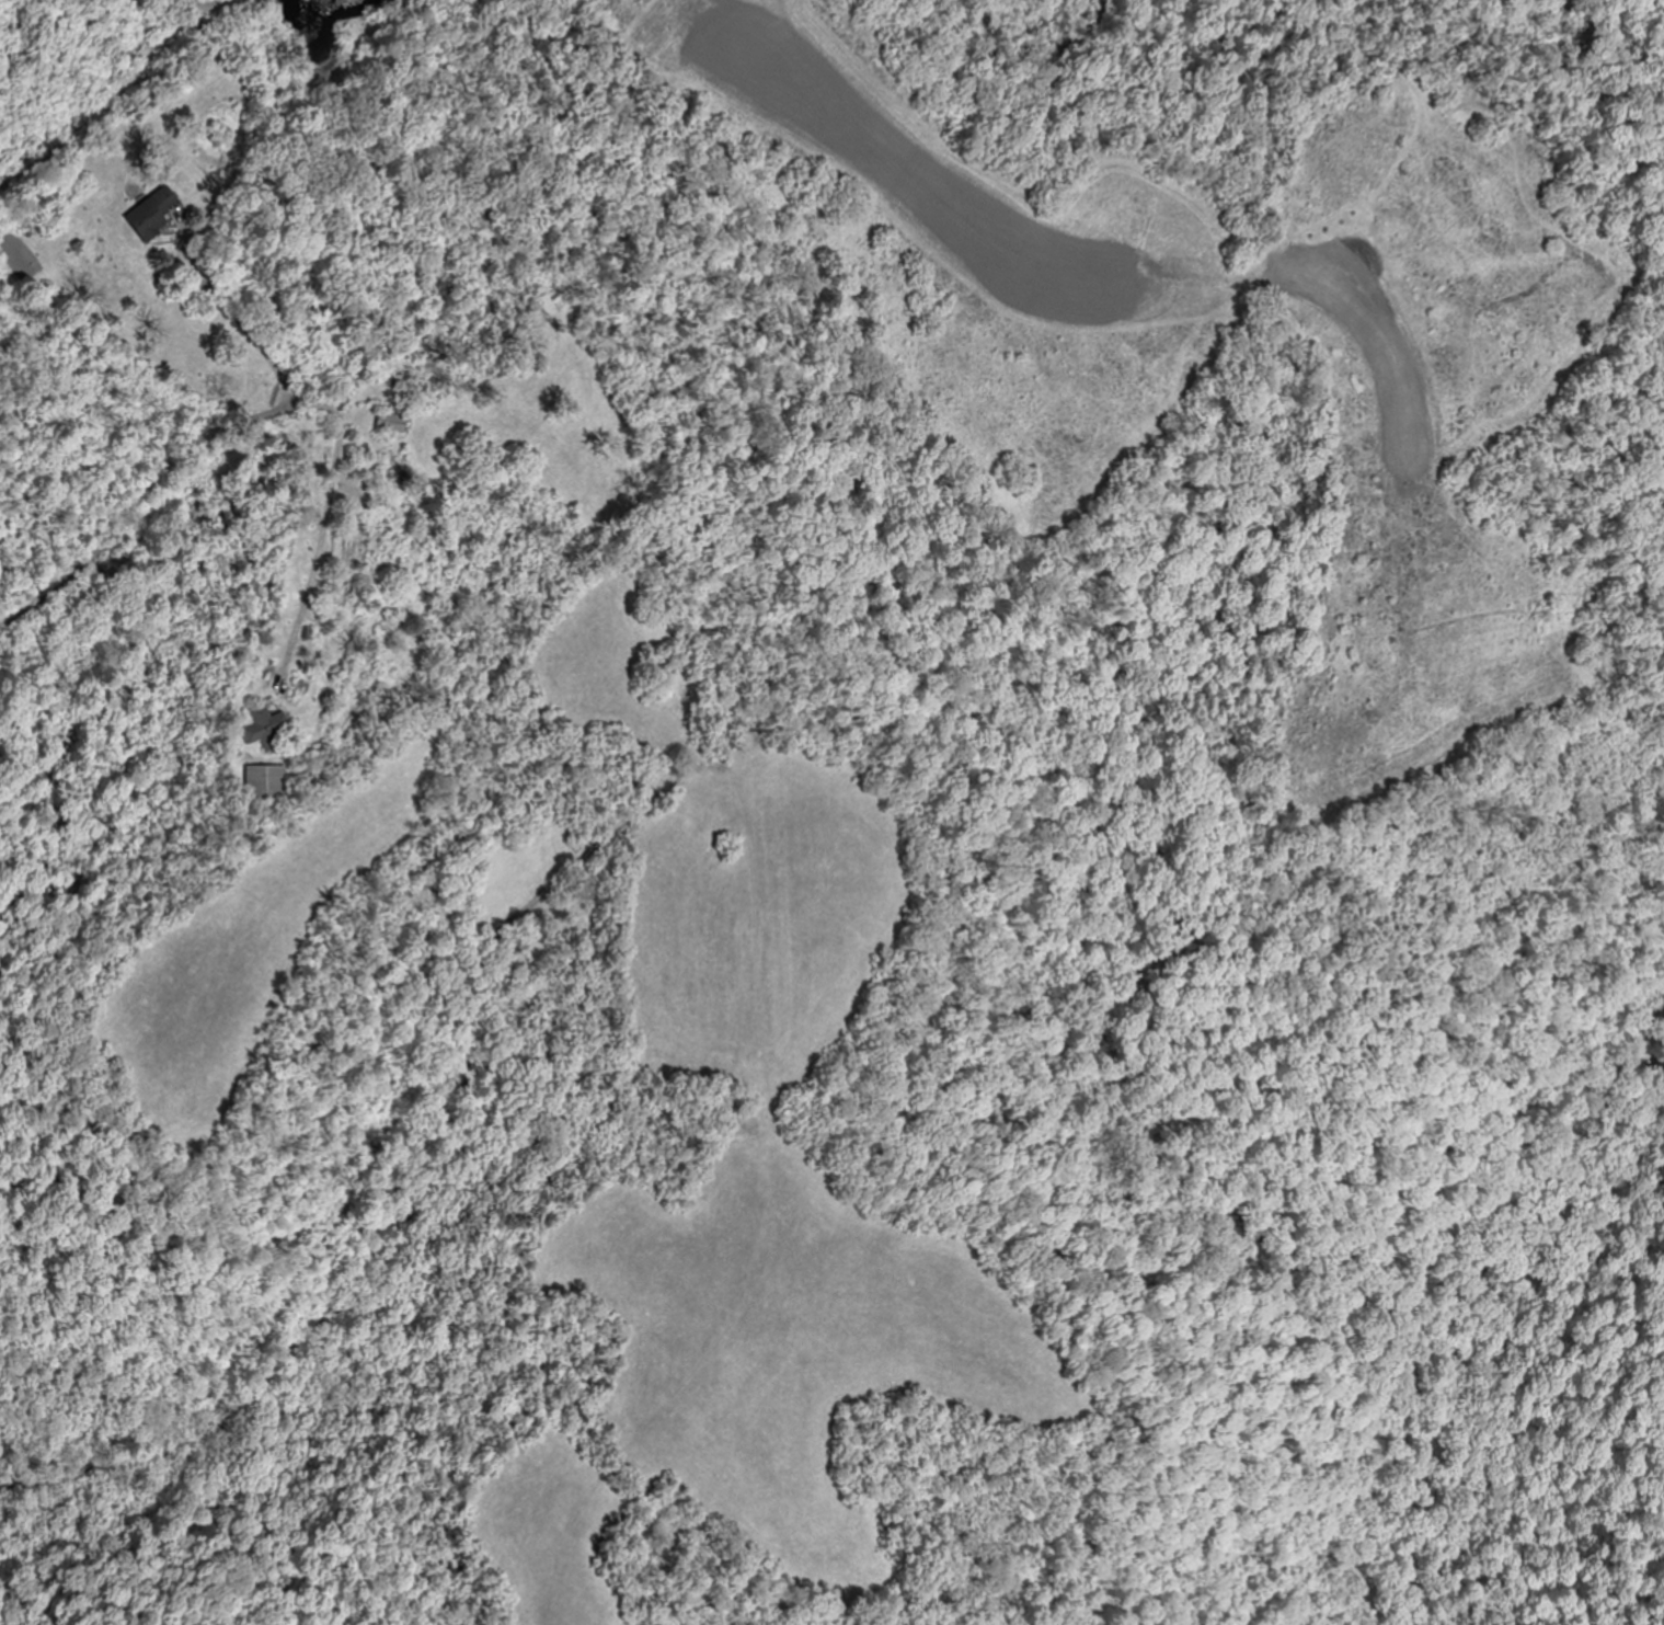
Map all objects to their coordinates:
building: (153, 215)
building: (394, 422)
building: (266, 731)
building: (267, 783)
road: (473, 1044)

